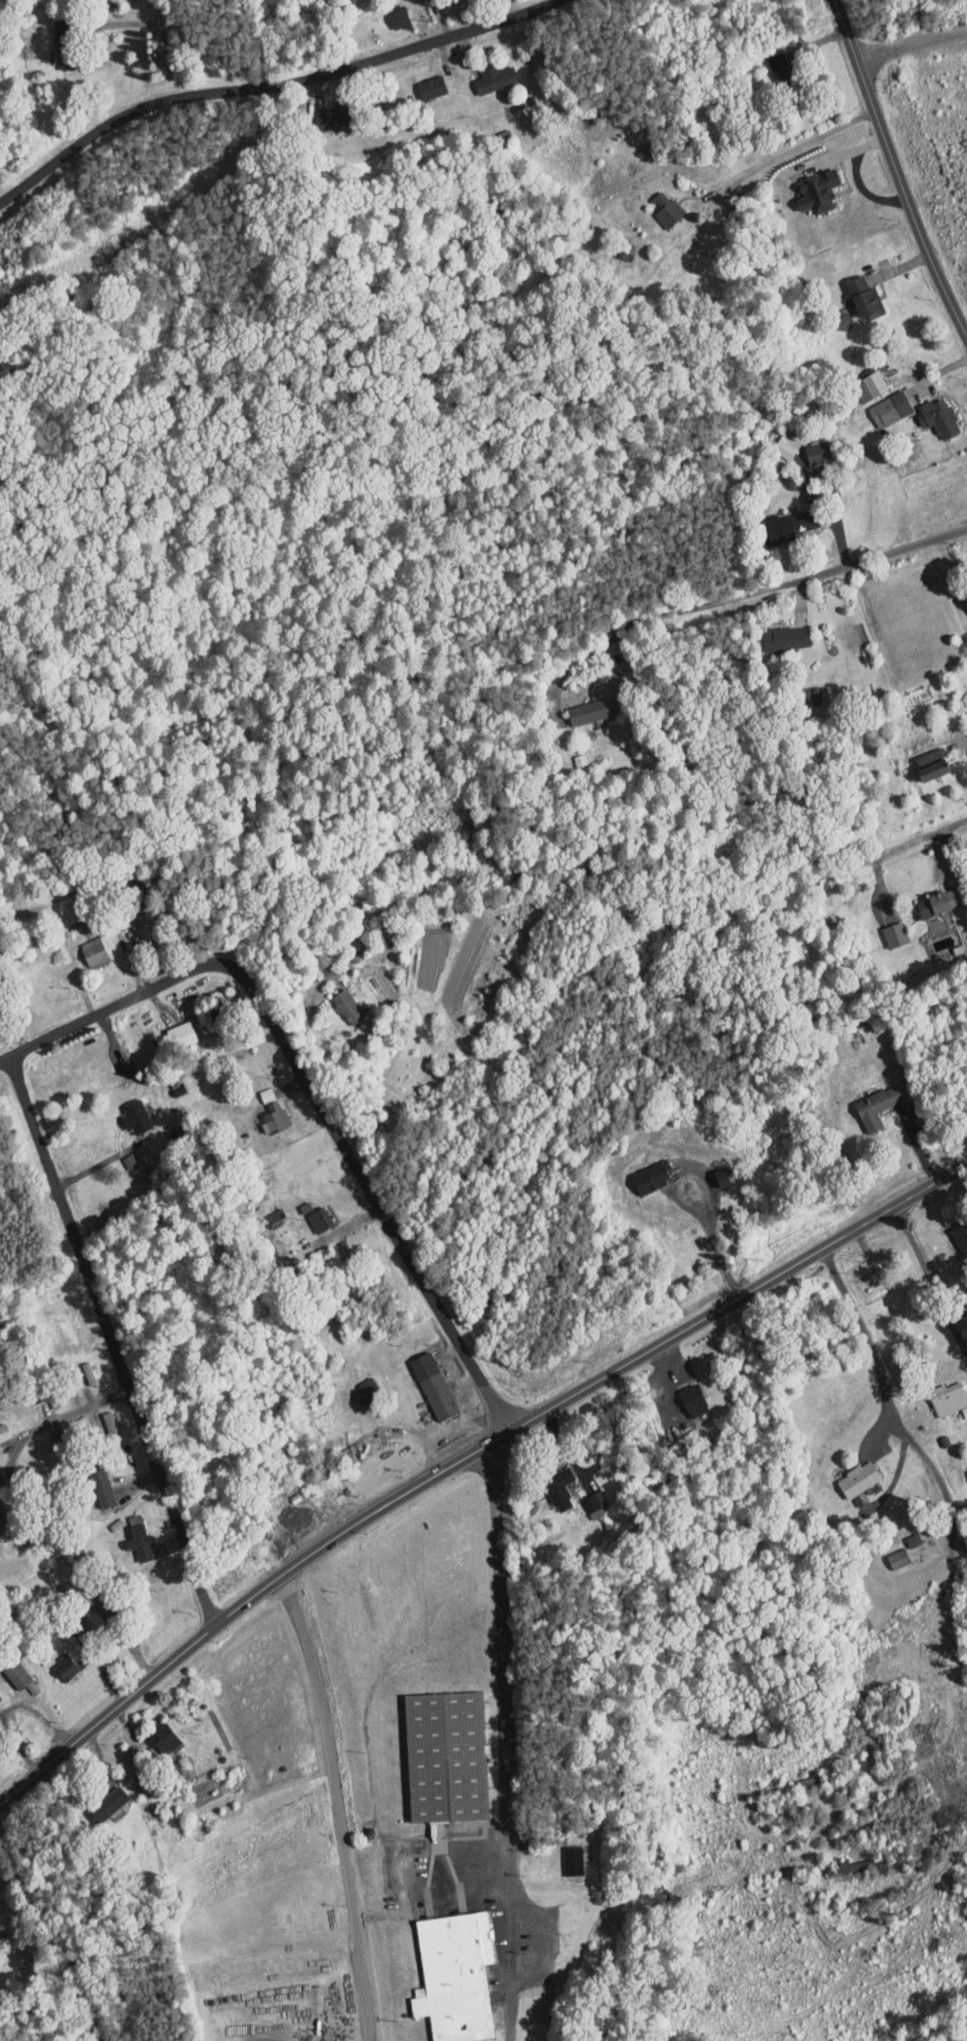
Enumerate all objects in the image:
building: (388, 11)
road: (185, 30)
road: (909, 44)
building: (770, 59)
building: (482, 72)
road: (57, 78)
road: (267, 78)
building: (418, 80)
building: (320, 109)
road: (791, 150)
road: (894, 172)
building: (805, 184)
building: (654, 203)
building: (852, 290)
building: (857, 379)
building: (878, 402)
building: (926, 411)
building: (775, 440)
building: (805, 446)
road: (860, 463)
building: (779, 518)
road: (737, 596)
building: (964, 611)
building: (774, 632)
building: (577, 705)
building: (920, 758)
road: (910, 845)
building: (927, 896)
building: (883, 928)
building: (83, 946)
building: (310, 953)
building: (335, 1000)
building: (170, 1029)
road: (5, 1061)
building: (254, 1088)
road: (312, 1094)
building: (865, 1100)
building: (123, 1110)
building: (263, 1112)
building: (117, 1155)
road: (99, 1165)
building: (638, 1171)
building: (710, 1171)
road: (692, 1205)
road: (888, 1211)
building: (307, 1213)
building: (951, 1232)
road: (931, 1279)
road: (112, 1342)
road: (659, 1344)
building: (421, 1379)
building: (353, 1385)
building: (937, 1392)
building: (681, 1394)
road: (891, 1408)
road: (48, 1425)
building: (847, 1473)
building: (89, 1480)
building: (547, 1483)
building: (583, 1498)
building: (127, 1537)
building: (886, 1551)
road: (243, 1605)
building: (56, 1659)
building: (7, 1669)
road: (8, 1705)
building: (151, 1731)
road: (506, 1736)
building: (433, 1749)
building: (96, 1797)
road: (338, 1807)
building: (561, 1853)
road: (55, 1935)
building: (442, 1970)

